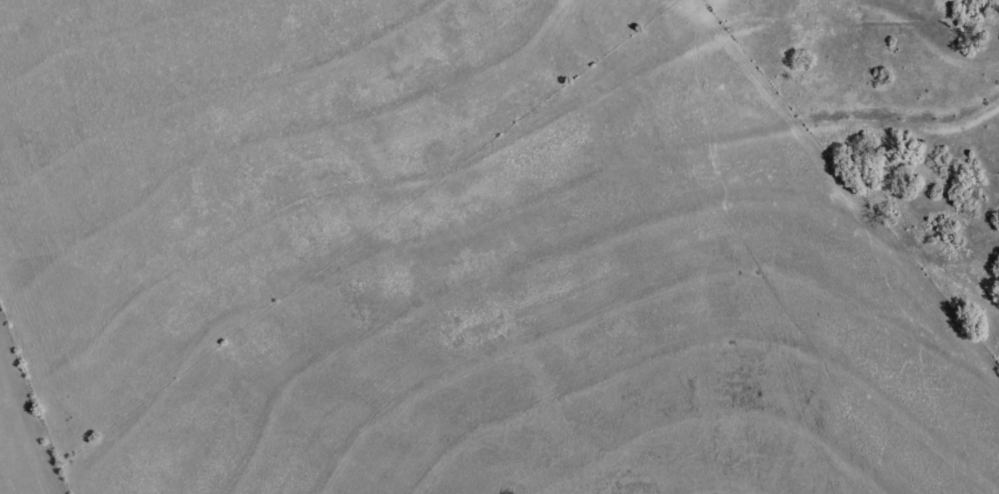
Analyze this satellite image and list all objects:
road: (664, 5)

